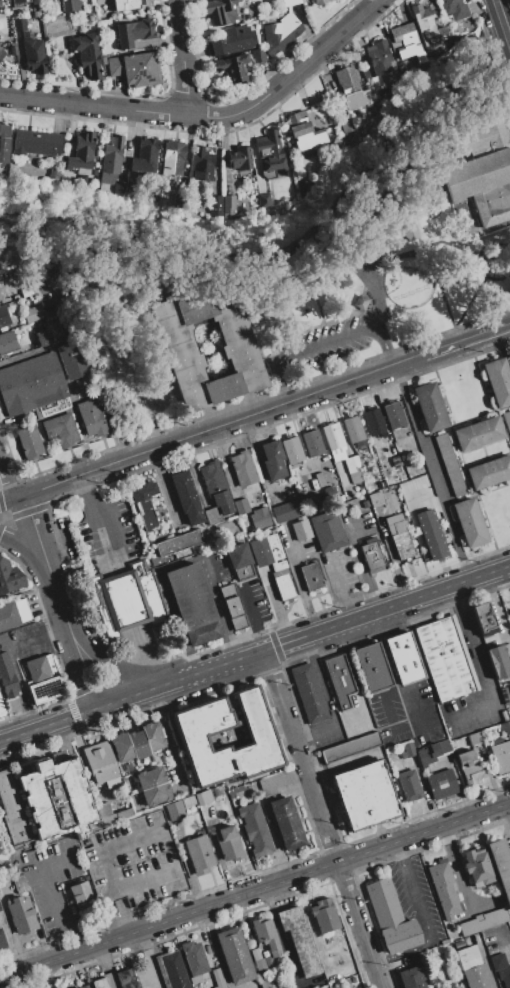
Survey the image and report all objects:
building: (17, 1)
building: (98, 2)
building: (289, 2)
building: (321, 2)
building: (128, 4)
building: (71, 5)
building: (453, 8)
building: (220, 11)
building: (90, 13)
road: (502, 21)
building: (19, 24)
building: (426, 25)
building: (134, 32)
building: (280, 34)
building: (232, 41)
building: (406, 42)
building: (13, 50)
building: (1, 53)
building: (33, 53)
building: (87, 54)
building: (257, 55)
building: (378, 56)
road: (180, 57)
building: (113, 66)
building: (141, 68)
building: (230, 68)
building: (364, 70)
building: (376, 83)
building: (351, 89)
road: (208, 116)
building: (347, 124)
building: (302, 131)
building: (357, 137)
building: (339, 141)
building: (4, 142)
building: (35, 142)
building: (81, 153)
building: (268, 153)
building: (145, 155)
building: (172, 157)
building: (110, 159)
building: (238, 159)
building: (202, 165)
building: (480, 169)
building: (308, 185)
building: (119, 186)
building: (130, 186)
building: (178, 201)
building: (263, 201)
building: (228, 202)
building: (215, 206)
building: (409, 232)
road: (504, 247)
road: (400, 253)
building: (358, 254)
road: (488, 254)
park: (406, 258)
road: (474, 277)
building: (27, 292)
building: (0, 298)
road: (300, 301)
building: (32, 313)
building: (3, 316)
road: (332, 320)
building: (54, 329)
building: (43, 337)
road: (466, 341)
building: (7, 342)
parking lot: (329, 342)
road: (322, 346)
building: (239, 354)
building: (72, 359)
building: (498, 380)
building: (30, 383)
building: (429, 407)
building: (393, 415)
building: (92, 416)
building: (507, 421)
building: (374, 422)
road: (221, 426)
building: (353, 429)
building: (59, 431)
building: (478, 433)
building: (334, 440)
building: (29, 442)
building: (312, 443)
building: (292, 450)
building: (272, 459)
building: (449, 463)
building: (242, 468)
building: (354, 468)
road: (432, 472)
building: (489, 472)
road: (7, 477)
building: (320, 480)
building: (327, 491)
building: (215, 492)
building: (186, 497)
building: (339, 497)
building: (375, 498)
road: (10, 499)
building: (145, 504)
building: (365, 504)
building: (295, 507)
road: (98, 509)
building: (260, 518)
building: (469, 522)
building: (300, 530)
building: (327, 531)
building: (432, 536)
building: (399, 538)
building: (178, 542)
building: (266, 549)
road: (21, 550)
building: (372, 556)
road: (45, 560)
building: (240, 560)
building: (279, 565)
building: (9, 576)
building: (311, 576)
building: (283, 586)
building: (126, 599)
building: (193, 603)
building: (232, 607)
road: (387, 607)
building: (509, 608)
building: (13, 613)
road: (254, 617)
building: (483, 619)
road: (38, 636)
road: (74, 643)
building: (403, 658)
building: (444, 659)
road: (228, 662)
building: (498, 662)
road: (474, 665)
road: (123, 667)
building: (372, 667)
building: (40, 668)
road: (388, 670)
building: (7, 678)
road: (354, 679)
building: (339, 680)
road: (88, 684)
building: (45, 689)
road: (145, 691)
building: (308, 693)
building: (505, 694)
building: (2, 708)
road: (330, 712)
building: (503, 715)
road: (48, 724)
building: (503, 728)
building: (153, 735)
building: (262, 739)
building: (138, 744)
building: (350, 747)
building: (120, 748)
building: (407, 750)
building: (432, 752)
building: (501, 757)
building: (101, 764)
building: (469, 766)
building: (273, 782)
building: (441, 784)
building: (409, 785)
building: (152, 786)
building: (237, 789)
building: (365, 795)
building: (203, 797)
building: (57, 799)
building: (188, 801)
building: (175, 810)
building: (12, 811)
building: (111, 813)
road: (321, 819)
building: (286, 823)
building: (255, 830)
building: (228, 842)
building: (199, 854)
building: (477, 867)
building: (500, 868)
building: (20, 884)
building: (444, 888)
road: (254, 890)
building: (81, 895)
road: (55, 896)
building: (122, 904)
building: (0, 909)
building: (22, 914)
building: (323, 915)
building: (390, 916)
building: (484, 920)
road: (424, 921)
building: (509, 921)
building: (266, 936)
building: (299, 940)
building: (2, 942)
building: (458, 943)
building: (234, 955)
building: (467, 956)
building: (194, 960)
building: (258, 960)
building: (497, 961)
building: (171, 970)
building: (342, 973)
building: (504, 976)
building: (477, 977)
building: (218, 978)
building: (410, 978)
building: (125, 979)
building: (264, 982)
building: (99, 983)
building: (83, 986)
building: (434, 986)

